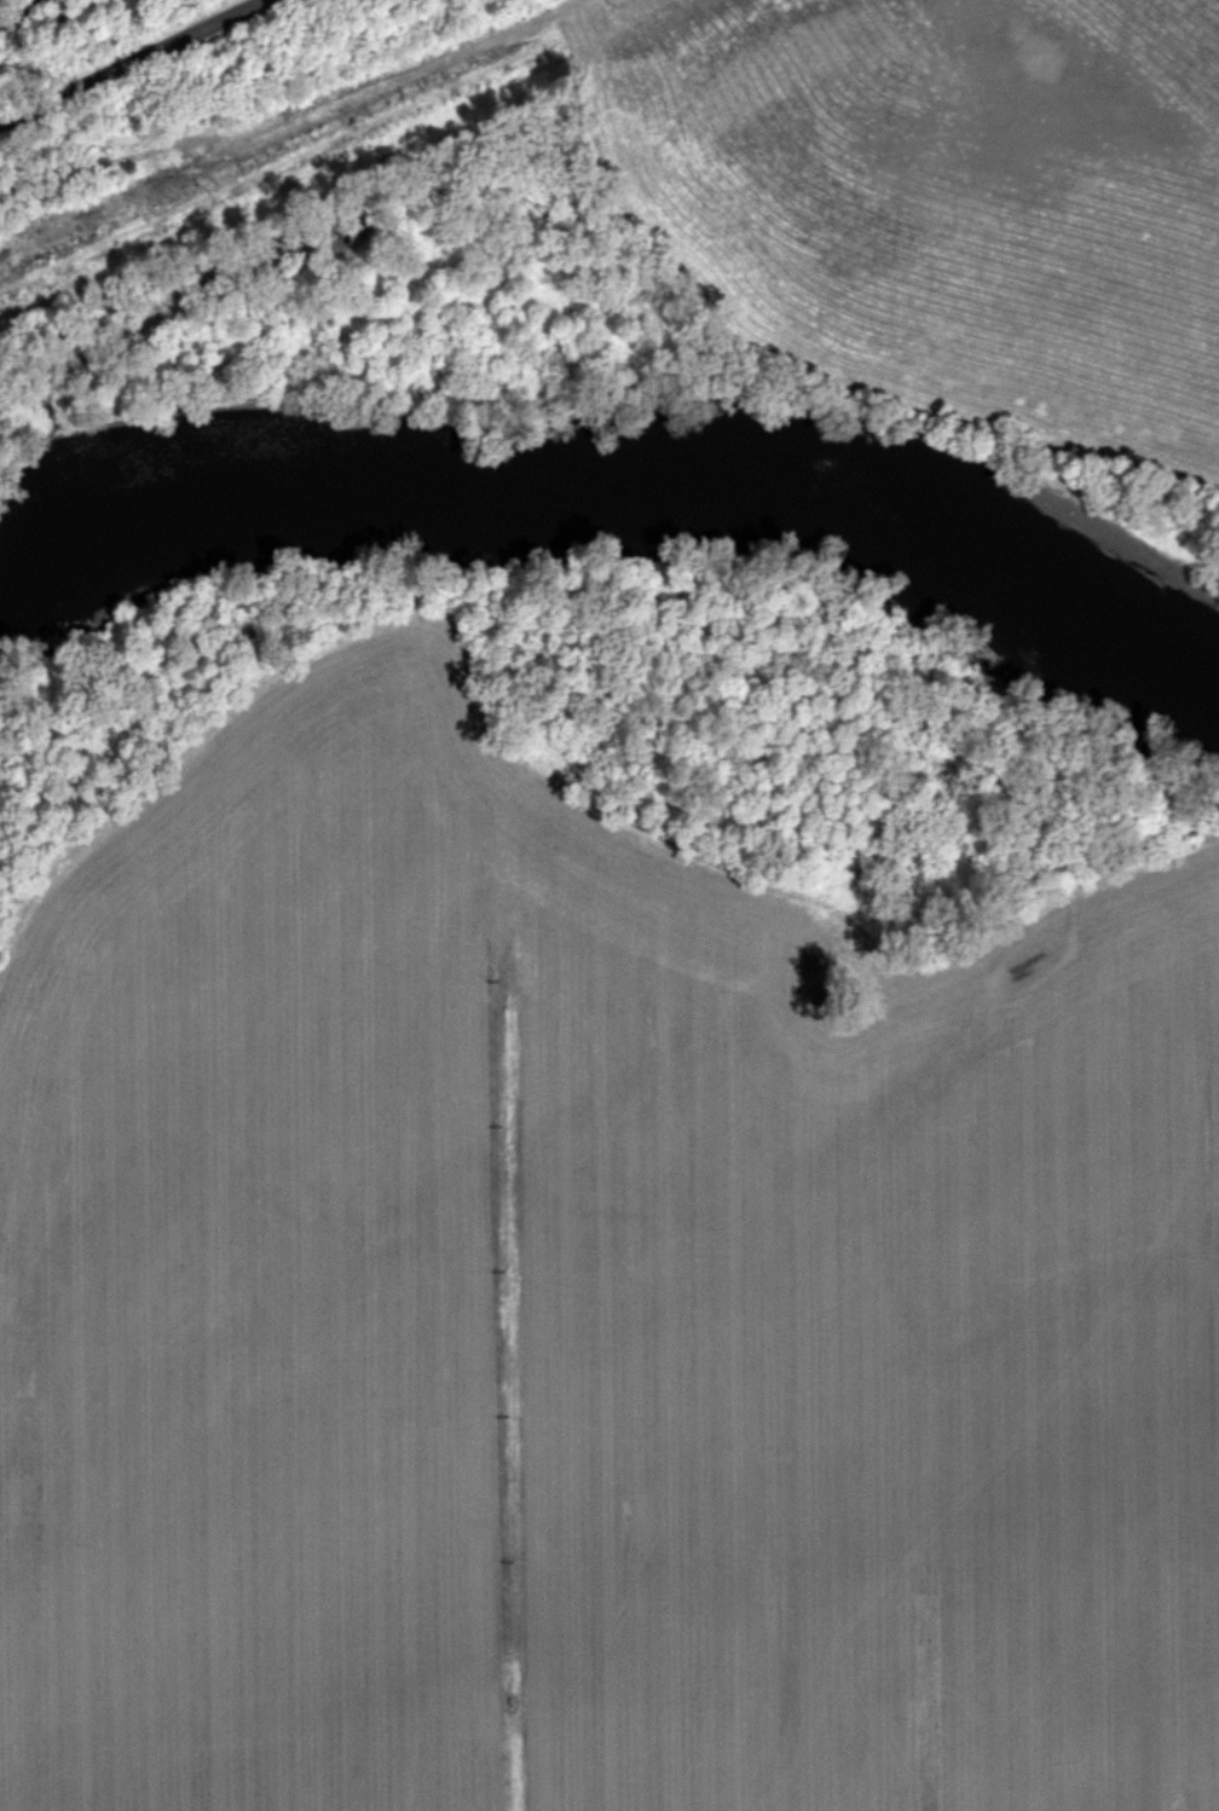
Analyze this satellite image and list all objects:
road: (141, 59)
crop: (958, 184)
river: (614, 478)
crop: (594, 1304)

